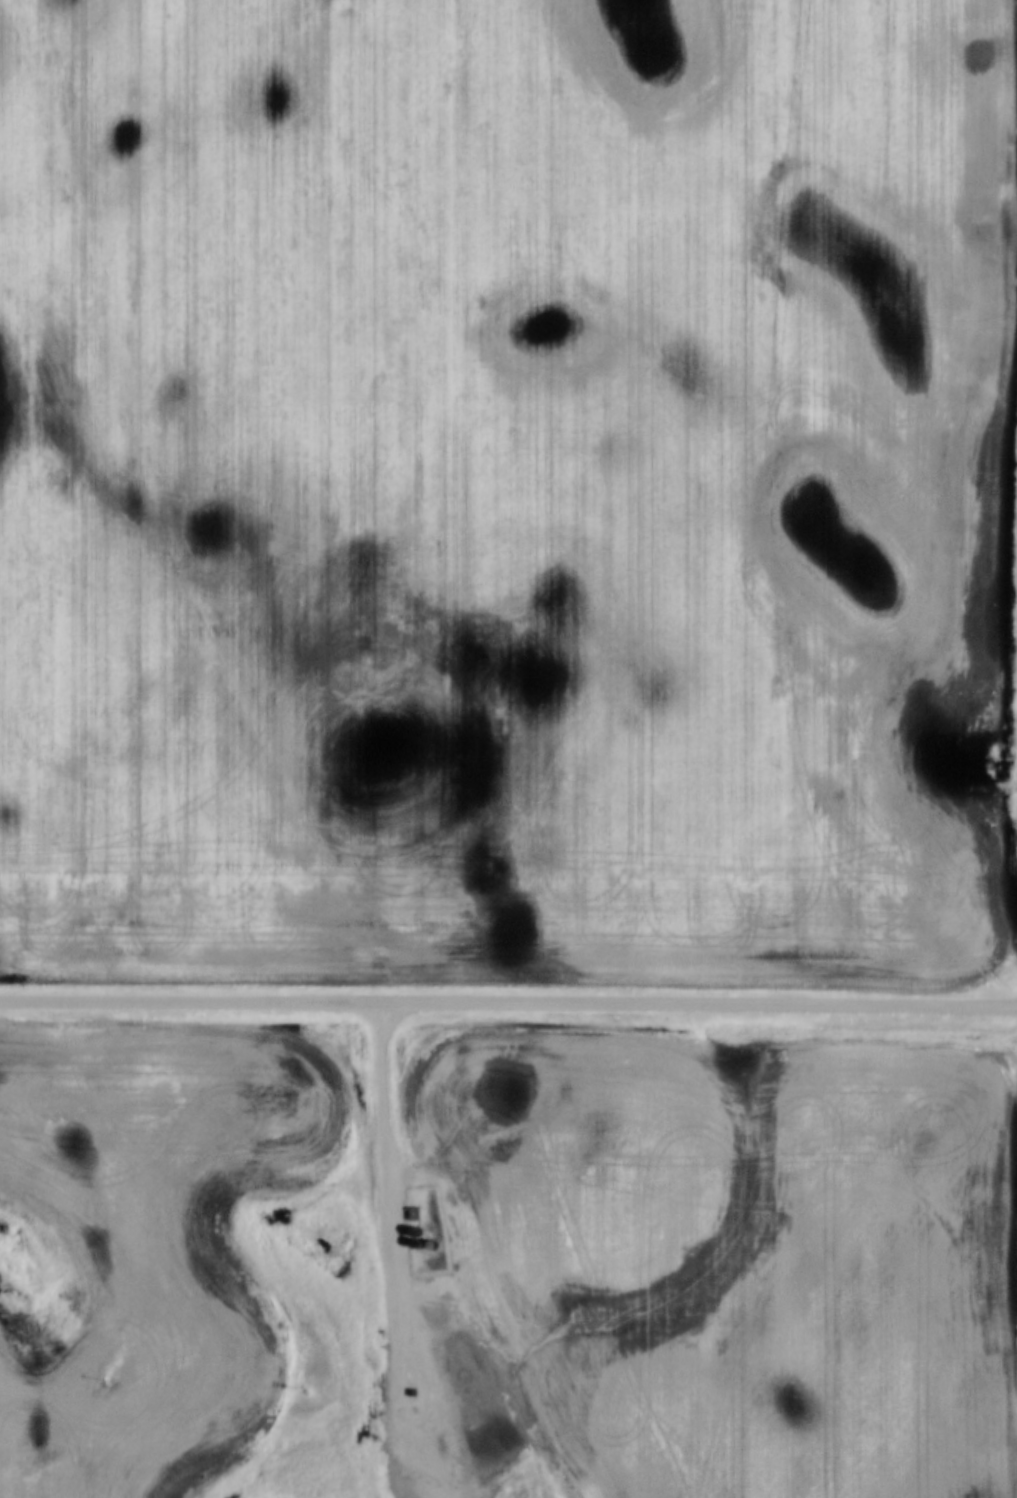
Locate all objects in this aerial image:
road: (508, 995)
building: (412, 1214)
road: (391, 1228)

